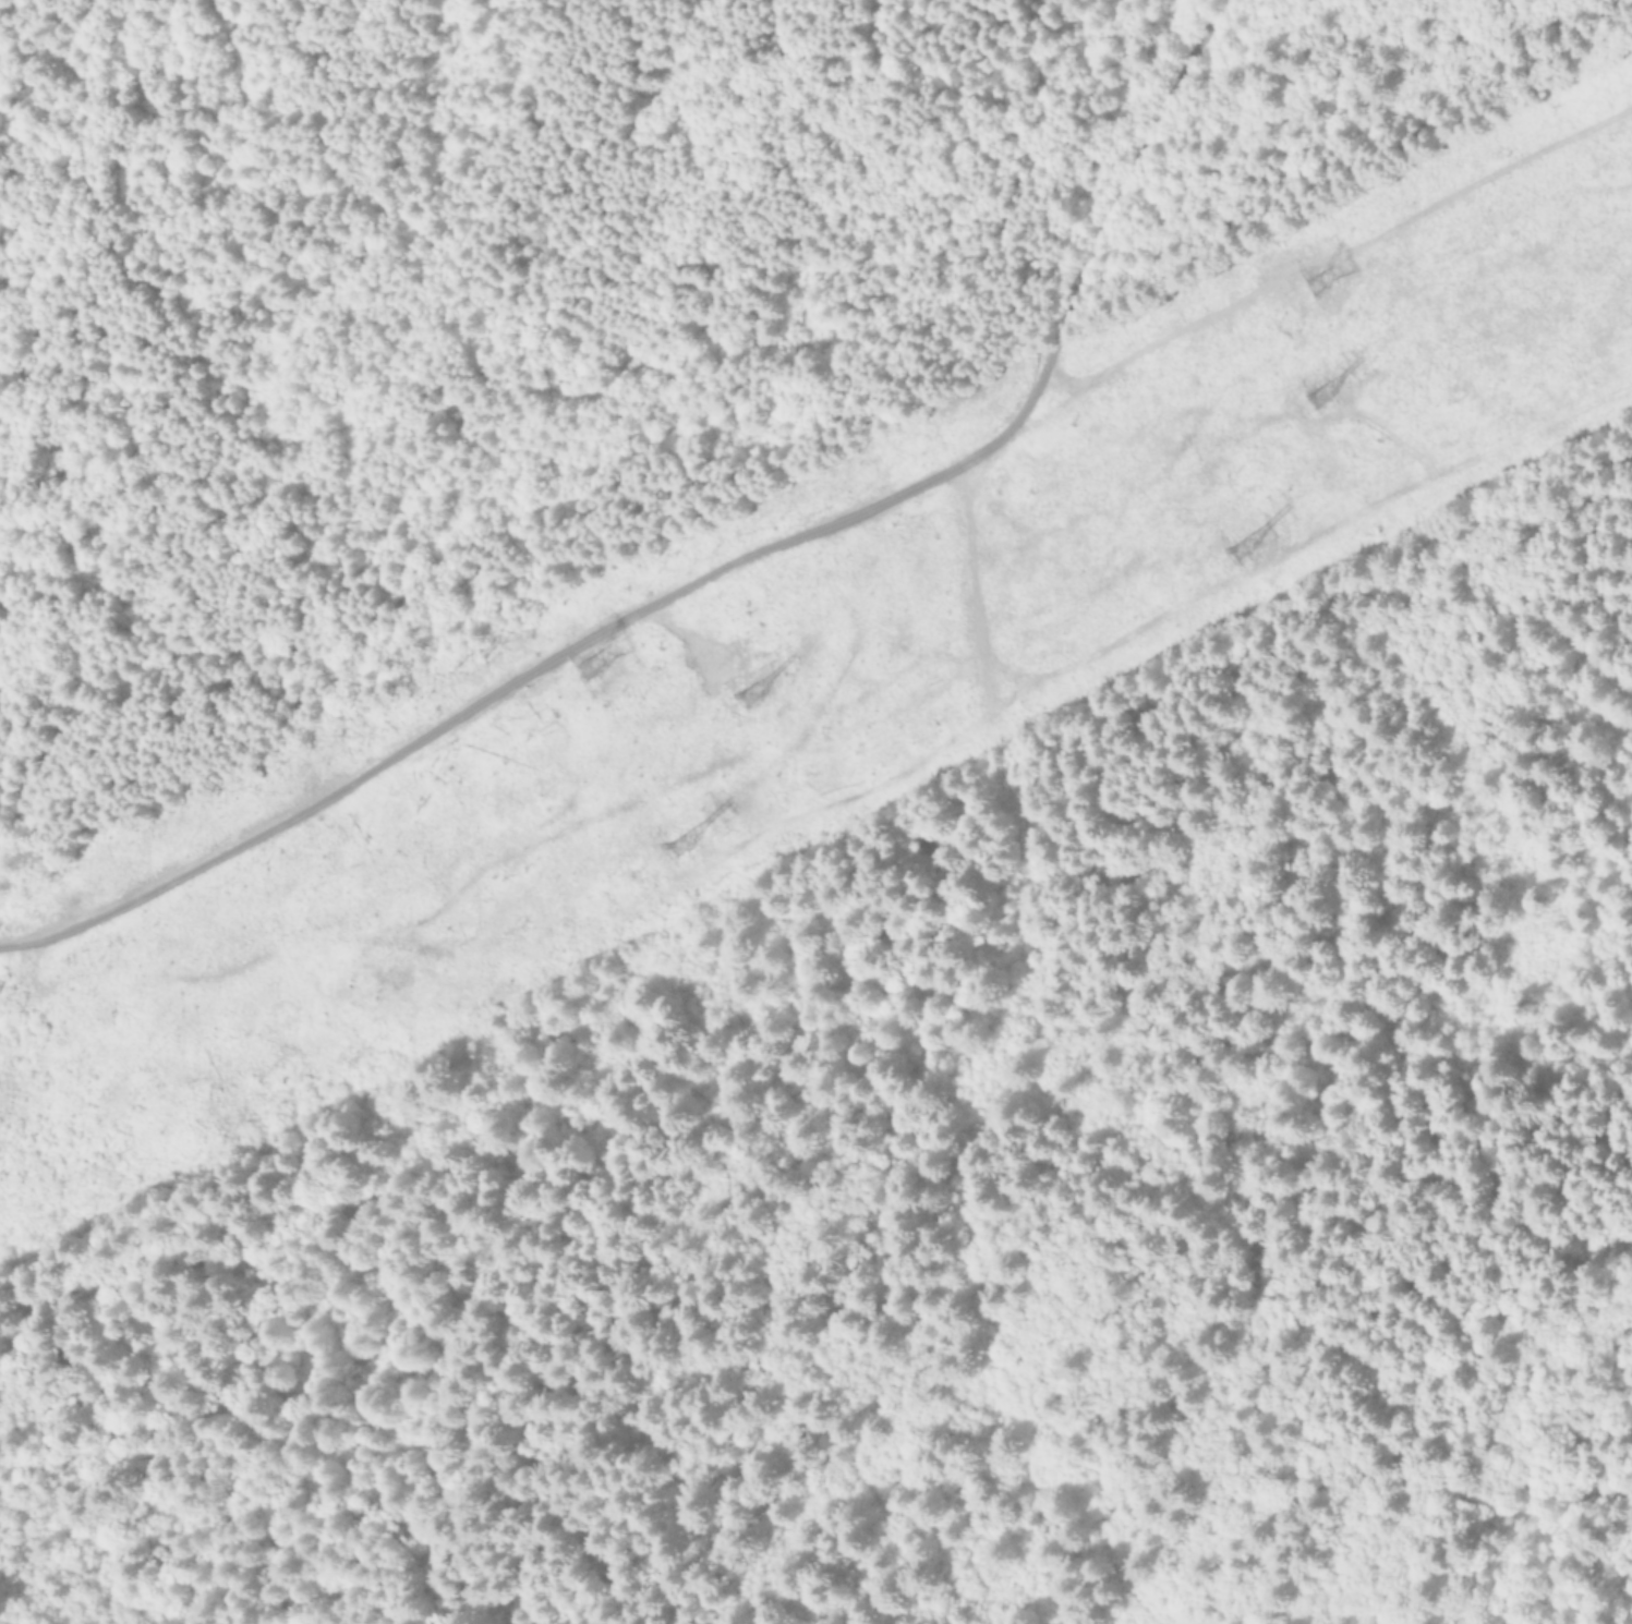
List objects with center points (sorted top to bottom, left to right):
road: (1320, 253)
power tower: (1318, 282)
power tower: (1322, 397)
power tower: (1250, 546)
road: (713, 569)
power tower: (595, 666)
power tower: (759, 692)
power tower: (686, 841)
road: (996, 1093)
road: (1059, 1422)
road: (1266, 1527)

